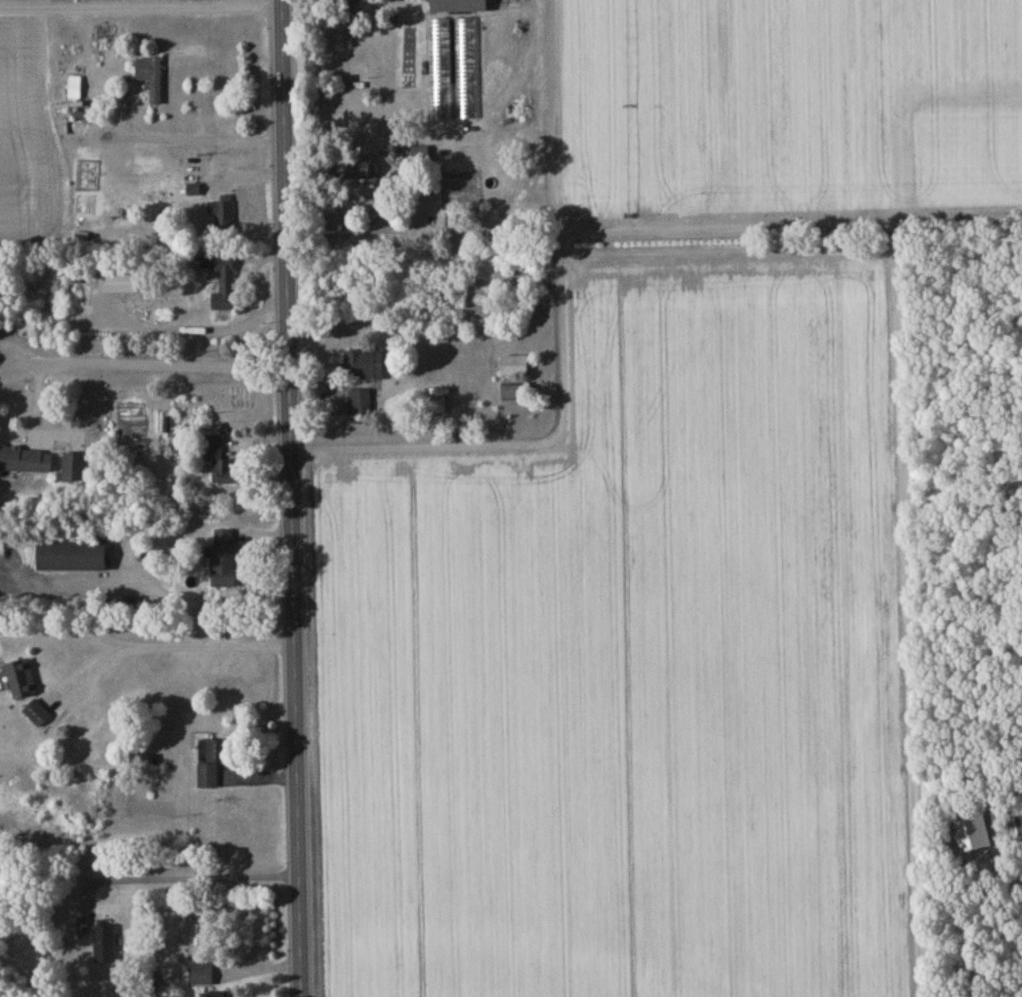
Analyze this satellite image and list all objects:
building: (460, 8)
road: (140, 9)
building: (151, 80)
road: (206, 141)
building: (419, 157)
building: (358, 171)
road: (347, 216)
building: (221, 217)
road: (789, 226)
building: (225, 285)
road: (563, 353)
road: (143, 366)
building: (364, 367)
building: (515, 368)
building: (516, 395)
building: (362, 405)
building: (437, 408)
building: (26, 462)
building: (222, 466)
building: (75, 470)
road: (290, 498)
building: (73, 558)
building: (225, 562)
road: (184, 647)
building: (21, 681)
building: (38, 716)
building: (212, 764)
building: (1019, 826)
road: (195, 879)
building: (83, 929)
building: (105, 947)
building: (201, 976)
building: (221, 995)

